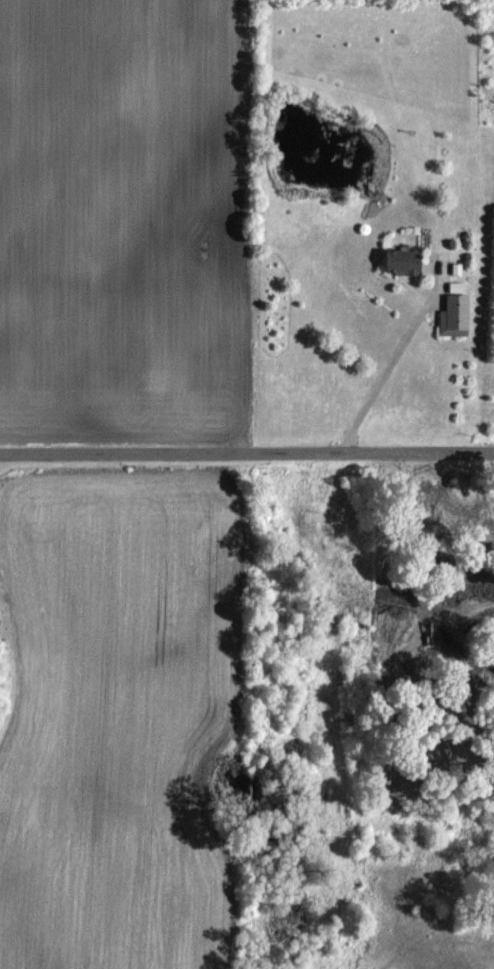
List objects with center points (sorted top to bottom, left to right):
building: (405, 261)
building: (455, 315)
road: (383, 369)
road: (246, 451)

